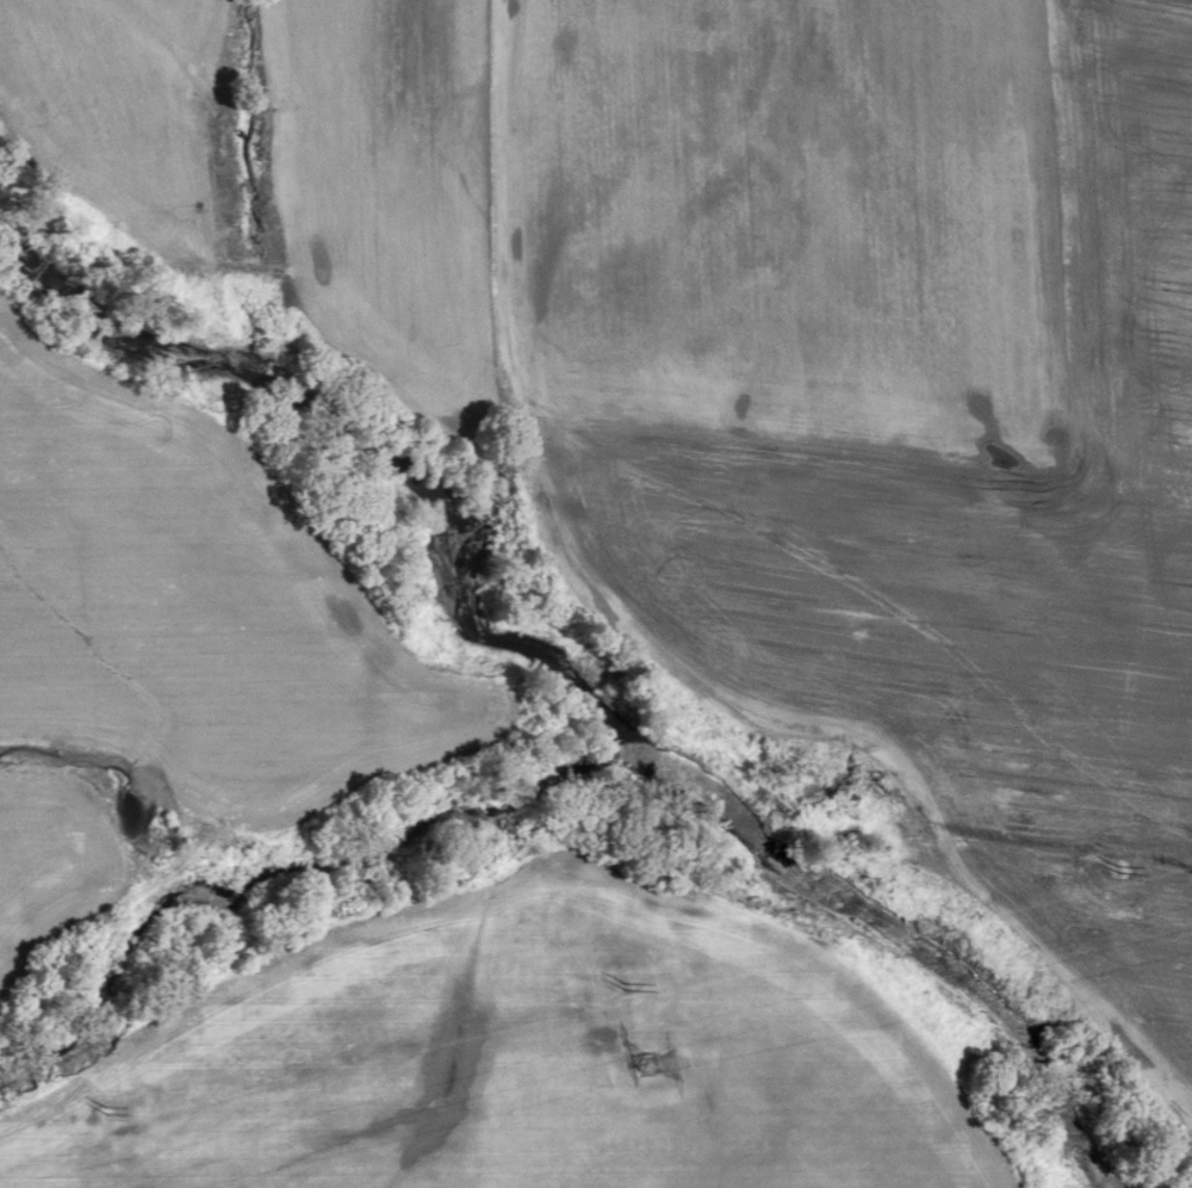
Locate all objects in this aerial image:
power tower: (651, 1054)

